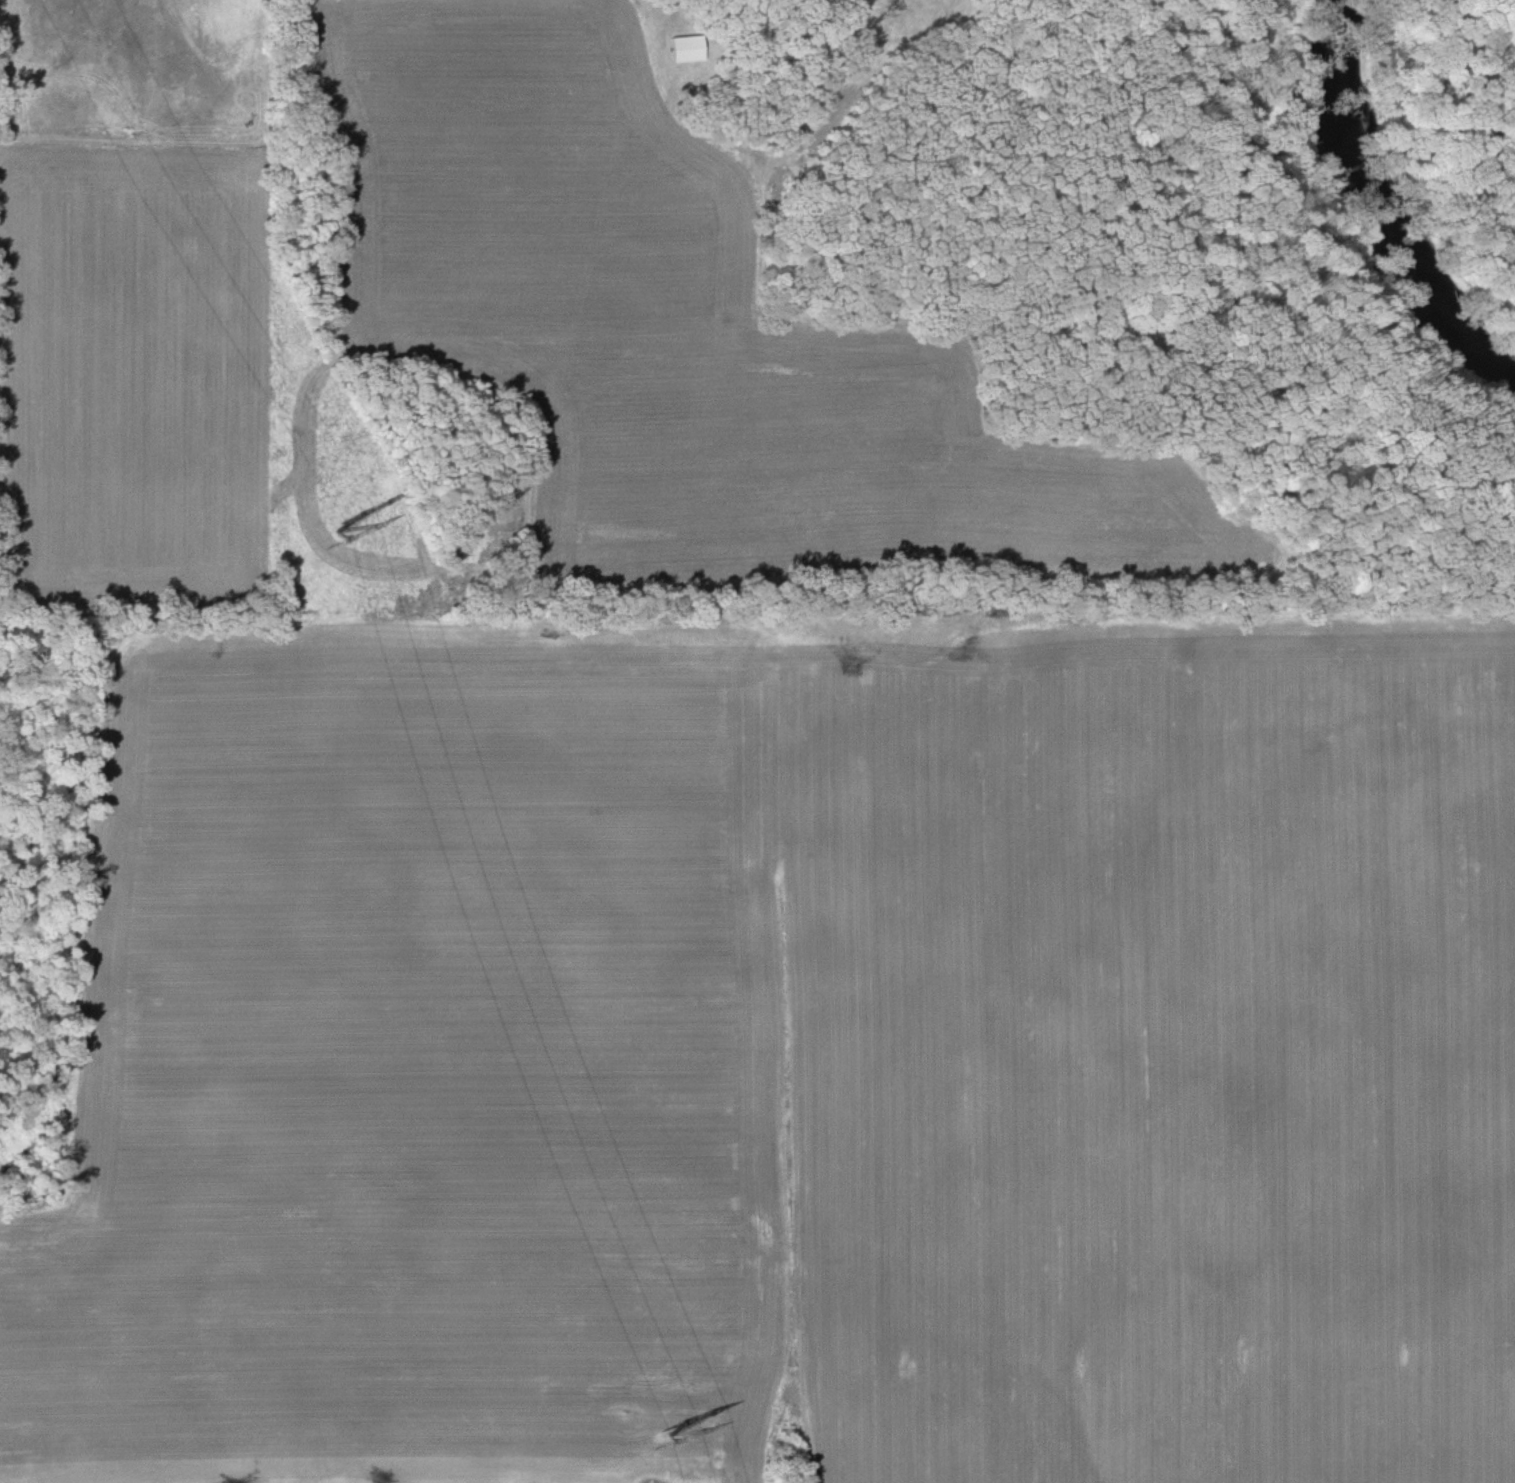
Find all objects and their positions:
road: (638, 2)
building: (688, 48)
river: (1383, 221)
power tower: (324, 533)
power tower: (664, 1434)

